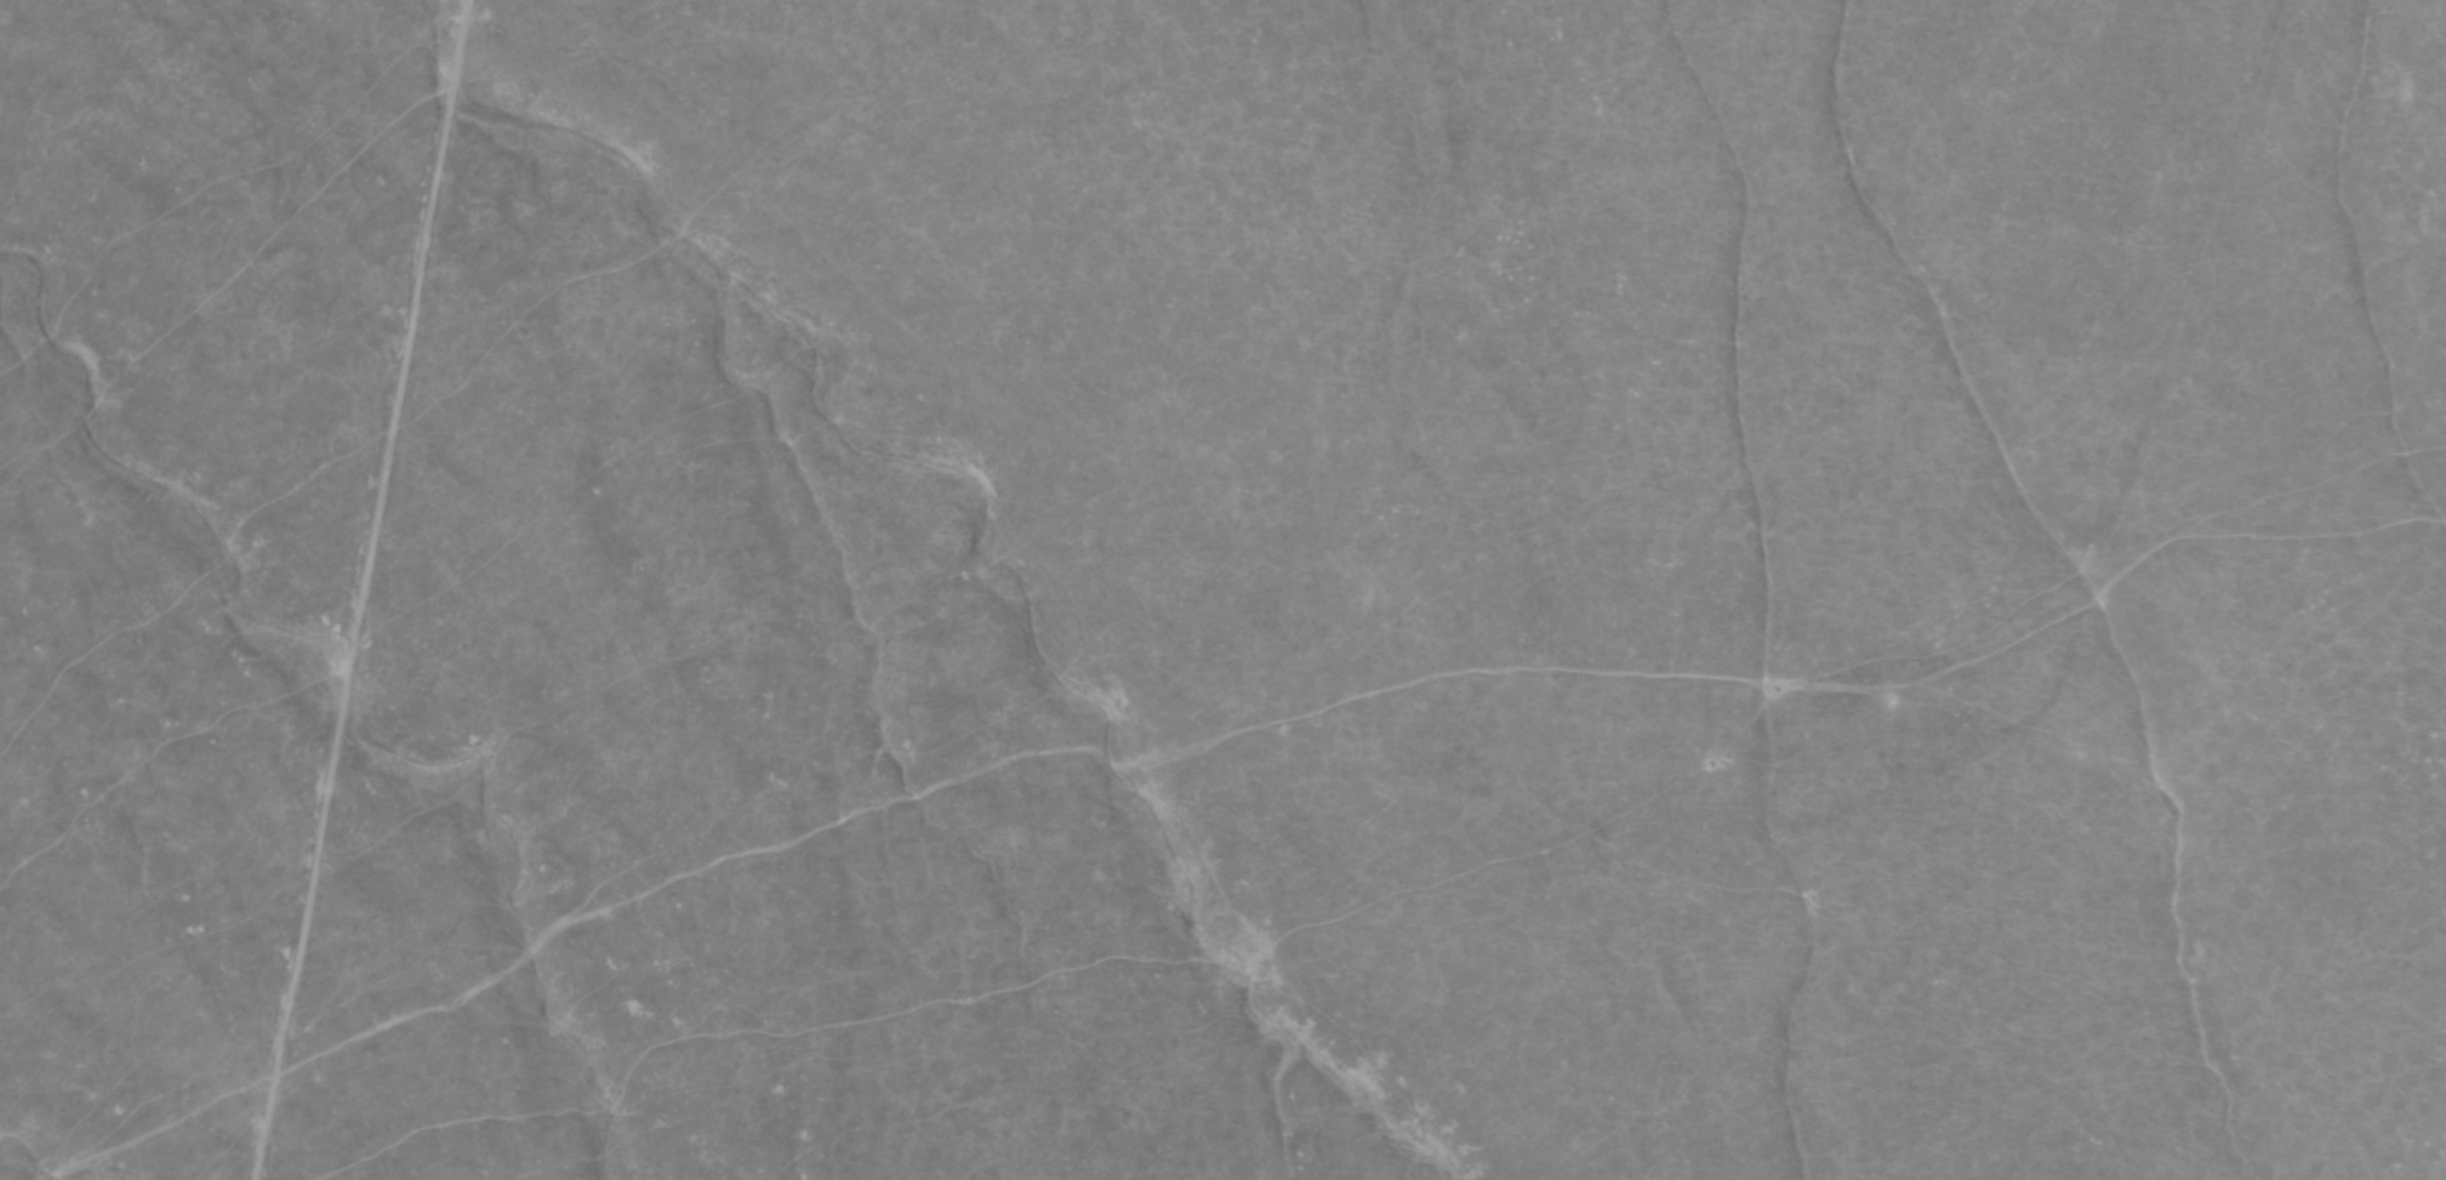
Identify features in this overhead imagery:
road: (363, 589)

